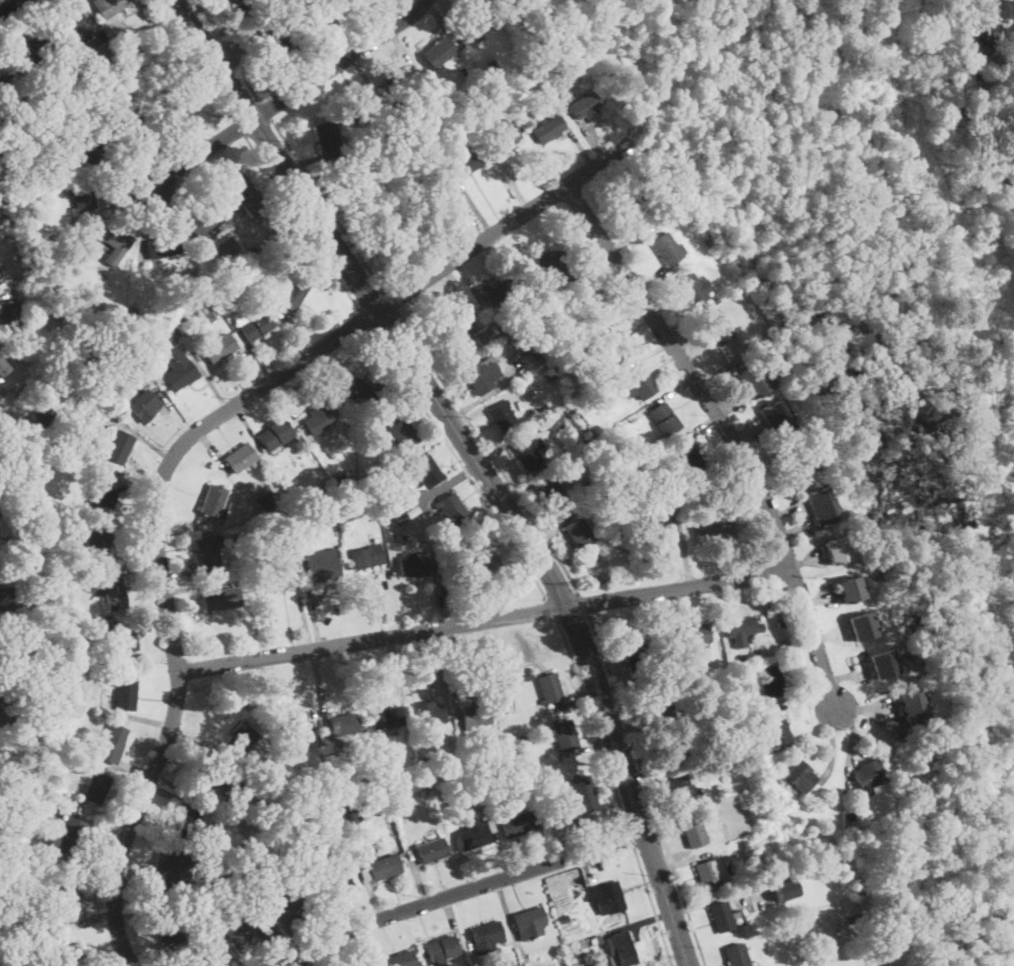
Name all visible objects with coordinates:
building: (228, 3)
road: (505, 5)
building: (521, 5)
road: (11, 7)
building: (108, 7)
building: (318, 17)
road: (451, 17)
road: (363, 18)
road: (1001, 18)
building: (476, 22)
road: (92, 23)
road: (444, 23)
road: (223, 26)
road: (40, 27)
building: (71, 27)
building: (278, 27)
building: (451, 33)
building: (984, 34)
building: (955, 40)
building: (269, 44)
building: (531, 48)
road: (227, 50)
road: (325, 50)
building: (137, 51)
building: (31, 52)
building: (103, 52)
building: (438, 52)
road: (406, 53)
road: (195, 58)
road: (238, 61)
building: (491, 65)
building: (463, 71)
building: (4, 72)
road: (360, 72)
building: (550, 75)
building: (398, 80)
building: (975, 81)
building: (442, 88)
road: (291, 90)
building: (536, 90)
building: (495, 99)
building: (178, 102)
building: (114, 103)
building: (585, 104)
building: (360, 106)
road: (266, 109)
building: (427, 114)
building: (24, 116)
building: (138, 124)
road: (240, 127)
building: (548, 129)
road: (174, 133)
building: (502, 133)
building: (329, 141)
road: (594, 142)
road: (581, 148)
building: (99, 151)
road: (138, 153)
road: (224, 158)
building: (363, 163)
building: (463, 163)
road: (304, 167)
road: (122, 178)
road: (513, 182)
building: (83, 196)
building: (244, 196)
road: (119, 198)
road: (169, 198)
building: (436, 198)
road: (126, 204)
road: (327, 205)
road: (475, 208)
building: (638, 210)
road: (148, 215)
road: (468, 217)
building: (664, 218)
building: (200, 222)
road: (303, 224)
building: (404, 235)
building: (54, 237)
building: (116, 238)
building: (707, 240)
road: (626, 243)
building: (161, 247)
building: (226, 247)
building: (665, 249)
park: (896, 256)
building: (549, 261)
road: (373, 262)
building: (251, 267)
road: (586, 269)
building: (225, 278)
road: (654, 278)
road: (467, 282)
building: (547, 286)
building: (496, 288)
building: (690, 289)
building: (218, 291)
road: (9, 293)
building: (290, 294)
road: (462, 295)
road: (389, 300)
building: (589, 307)
building: (133, 309)
building: (206, 310)
road: (614, 312)
building: (61, 313)
building: (10, 316)
road: (363, 318)
road: (684, 318)
building: (94, 319)
building: (182, 319)
road: (620, 320)
building: (255, 326)
building: (715, 327)
building: (457, 329)
road: (293, 331)
building: (482, 335)
building: (615, 346)
building: (218, 347)
building: (599, 348)
building: (484, 350)
building: (86, 351)
building: (112, 352)
building: (107, 356)
road: (254, 356)
building: (534, 357)
road: (643, 357)
building: (1, 362)
road: (725, 366)
building: (178, 367)
road: (251, 368)
road: (323, 368)
building: (140, 370)
building: (479, 375)
building: (72, 376)
building: (756, 380)
road: (210, 382)
building: (639, 383)
building: (359, 389)
road: (486, 394)
road: (668, 394)
road: (167, 403)
building: (144, 405)
road: (288, 406)
building: (586, 406)
road: (407, 407)
building: (1, 408)
building: (568, 408)
road: (732, 409)
building: (572, 414)
building: (41, 415)
building: (502, 417)
building: (632, 418)
building: (663, 419)
building: (318, 420)
building: (776, 420)
road: (116, 422)
building: (554, 422)
road: (250, 429)
road: (696, 429)
road: (728, 432)
building: (401, 433)
building: (275, 435)
road: (749, 435)
road: (512, 441)
road: (180, 444)
building: (118, 446)
building: (591, 449)
road: (212, 451)
road: (488, 451)
building: (528, 452)
building: (239, 458)
building: (688, 459)
road: (459, 460)
road: (477, 460)
building: (800, 462)
building: (428, 471)
building: (640, 475)
road: (772, 477)
road: (128, 478)
building: (346, 482)
road: (446, 482)
road: (523, 486)
building: (324, 489)
building: (27, 491)
building: (102, 493)
building: (552, 493)
building: (267, 500)
building: (214, 502)
building: (360, 502)
building: (644, 502)
building: (820, 506)
building: (393, 508)
building: (451, 508)
road: (750, 509)
road: (789, 510)
building: (412, 511)
building: (722, 512)
building: (355, 513)
building: (404, 516)
building: (257, 517)
building: (52, 518)
building: (398, 520)
building: (203, 525)
road: (173, 526)
building: (660, 527)
road: (549, 528)
building: (708, 529)
road: (795, 530)
building: (579, 533)
building: (398, 537)
building: (98, 541)
road: (684, 549)
building: (837, 550)
road: (129, 553)
building: (208, 555)
building: (366, 557)
building: (483, 557)
road: (806, 560)
building: (448, 562)
building: (323, 563)
road: (140, 567)
building: (413, 567)
road: (180, 572)
building: (279, 579)
road: (191, 588)
building: (112, 590)
building: (850, 590)
road: (441, 591)
road: (464, 593)
building: (222, 599)
road: (393, 599)
road: (819, 599)
building: (5, 603)
road: (719, 603)
road: (583, 605)
building: (44, 608)
road: (313, 608)
road: (550, 608)
road: (672, 613)
building: (66, 615)
road: (483, 619)
road: (2, 621)
road: (304, 622)
building: (82, 625)
building: (861, 626)
building: (741, 629)
building: (693, 634)
building: (122, 637)
road: (829, 637)
road: (145, 653)
building: (9, 658)
building: (637, 661)
building: (668, 662)
building: (884, 663)
road: (396, 668)
road: (454, 670)
road: (444, 672)
building: (512, 673)
building: (708, 673)
road: (847, 674)
building: (529, 678)
building: (770, 681)
building: (110, 682)
road: (304, 683)
road: (320, 683)
building: (549, 687)
road: (616, 688)
building: (925, 689)
building: (125, 695)
road: (580, 699)
building: (651, 703)
road: (800, 703)
building: (4, 704)
building: (913, 706)
building: (11, 709)
building: (772, 709)
road: (865, 709)
building: (429, 714)
building: (475, 715)
building: (386, 716)
road: (141, 717)
road: (593, 721)
building: (343, 724)
road: (640, 727)
building: (777, 730)
building: (296, 733)
building: (564, 735)
building: (763, 736)
building: (241, 739)
road: (852, 741)
building: (112, 743)
road: (209, 743)
building: (519, 744)
road: (832, 746)
road: (586, 747)
building: (666, 749)
building: (481, 757)
building: (79, 760)
building: (425, 760)
building: (450, 766)
road: (136, 769)
building: (868, 775)
building: (540, 776)
road: (650, 776)
building: (800, 776)
building: (215, 777)
building: (406, 782)
building: (488, 783)
building: (97, 787)
building: (718, 787)
road: (183, 788)
building: (425, 788)
building: (678, 789)
road: (648, 790)
road: (173, 796)
building: (580, 798)
building: (395, 801)
building: (325, 805)
building: (238, 806)
road: (660, 812)
road: (105, 814)
building: (349, 814)
building: (717, 818)
building: (185, 823)
building: (519, 823)
building: (490, 825)
building: (693, 832)
building: (320, 835)
building: (472, 835)
road: (108, 836)
building: (71, 837)
road: (579, 837)
road: (631, 837)
building: (298, 838)
building: (262, 839)
road: (544, 846)
building: (431, 850)
road: (500, 856)
road: (672, 856)
road: (683, 861)
building: (385, 866)
building: (168, 867)
building: (251, 868)
road: (586, 870)
building: (229, 872)
building: (365, 874)
building: (707, 874)
road: (417, 878)
building: (335, 880)
road: (140, 888)
building: (783, 888)
road: (324, 889)
road: (462, 890)
road: (765, 894)
building: (608, 898)
road: (717, 898)
building: (199, 900)
building: (287, 901)
road: (373, 901)
building: (29, 904)
road: (652, 907)
building: (59, 908)
building: (855, 916)
road: (280, 917)
building: (720, 917)
building: (563, 920)
road: (89, 921)
road: (641, 921)
building: (530, 922)
building: (168, 923)
road: (510, 923)
building: (839, 923)
road: (465, 924)
road: (453, 925)
building: (249, 927)
building: (840, 932)
building: (487, 936)
building: (595, 938)
road: (369, 945)
building: (440, 948)
building: (222, 950)
building: (621, 950)
road: (281, 951)
road: (153, 954)
road: (323, 954)
building: (73, 955)
building: (735, 955)
building: (401, 959)
road: (115, 961)
building: (202, 961)
building: (594, 963)
road: (221, 965)
building: (367, 965)
building: (1007, 965)

